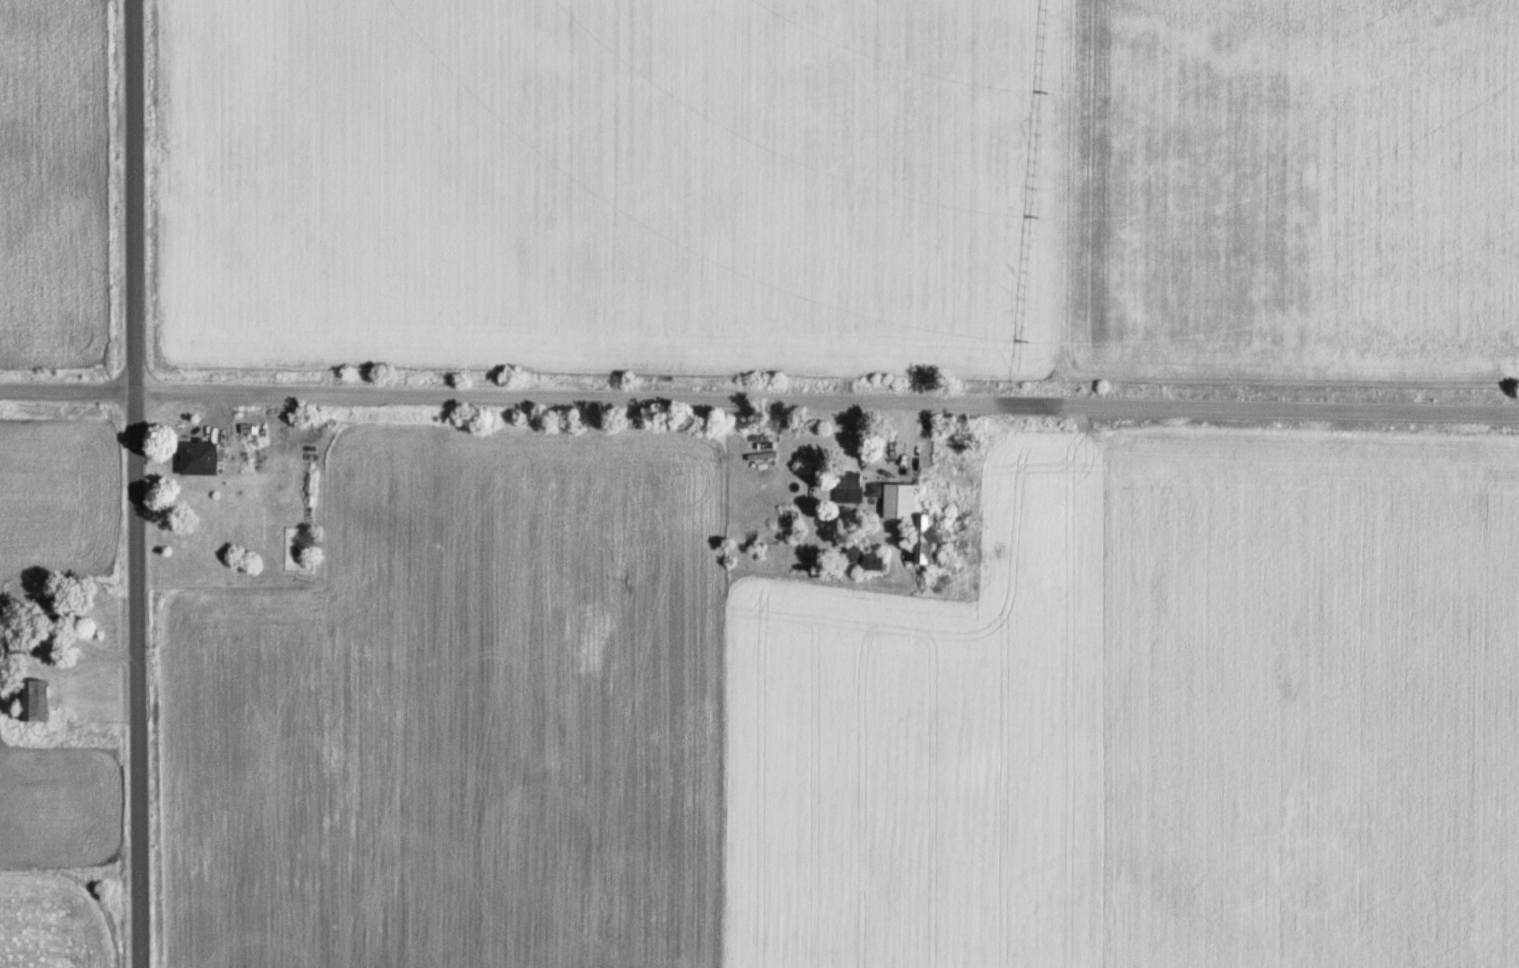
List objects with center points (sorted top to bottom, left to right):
road: (759, 400)
road: (208, 414)
building: (195, 456)
road: (885, 465)
road: (135, 484)
building: (849, 486)
building: (920, 519)
building: (15, 642)
building: (29, 699)

